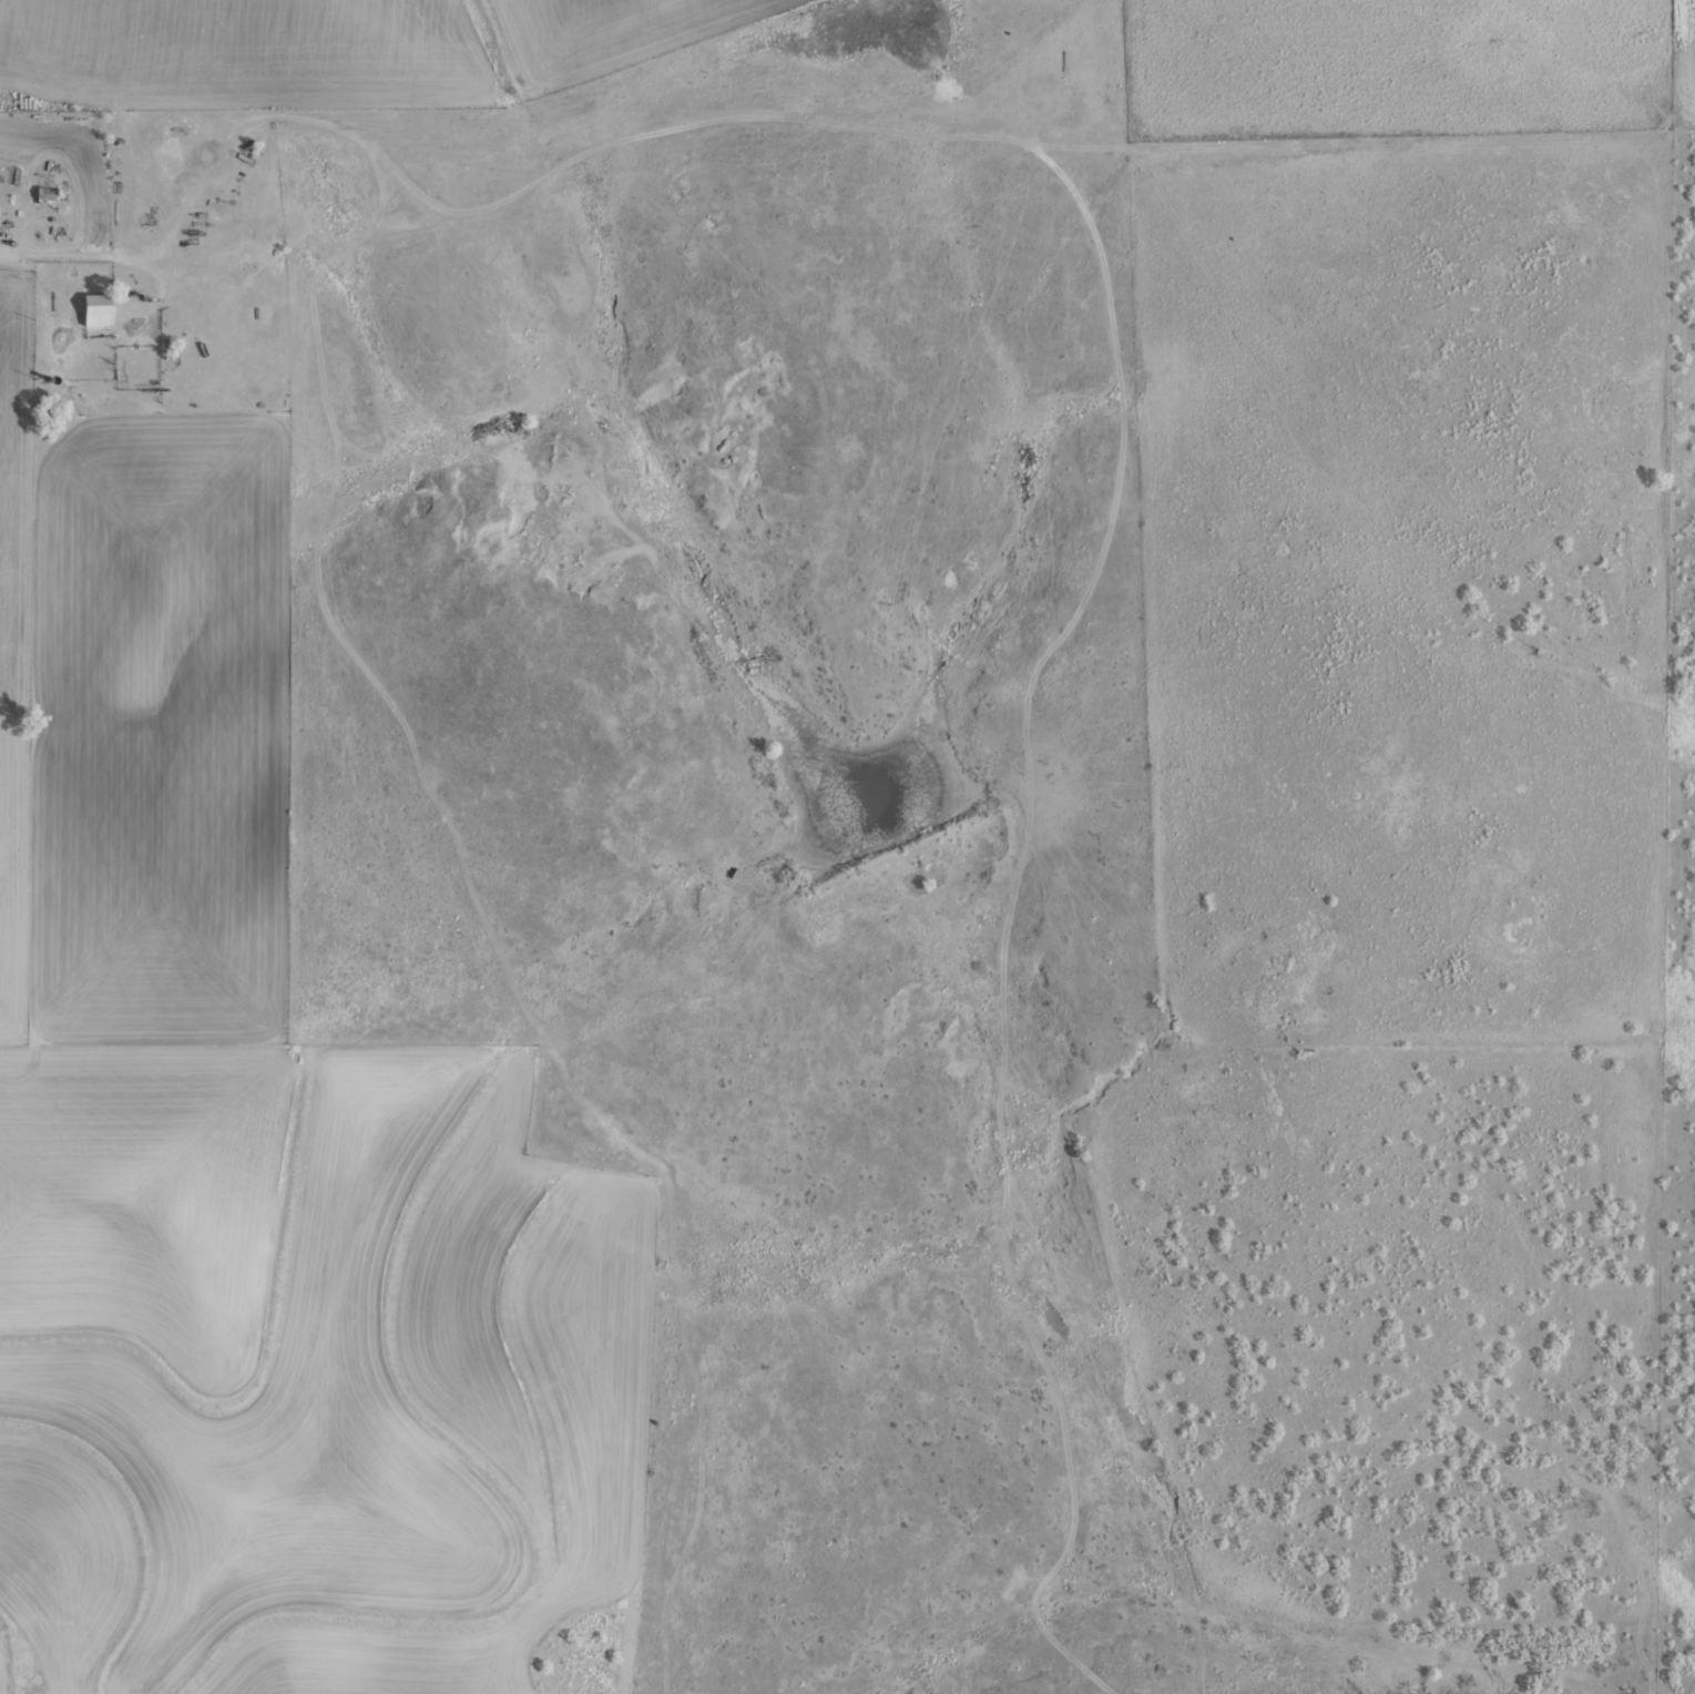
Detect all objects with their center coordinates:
road: (827, 140)
building: (49, 195)
building: (99, 312)

